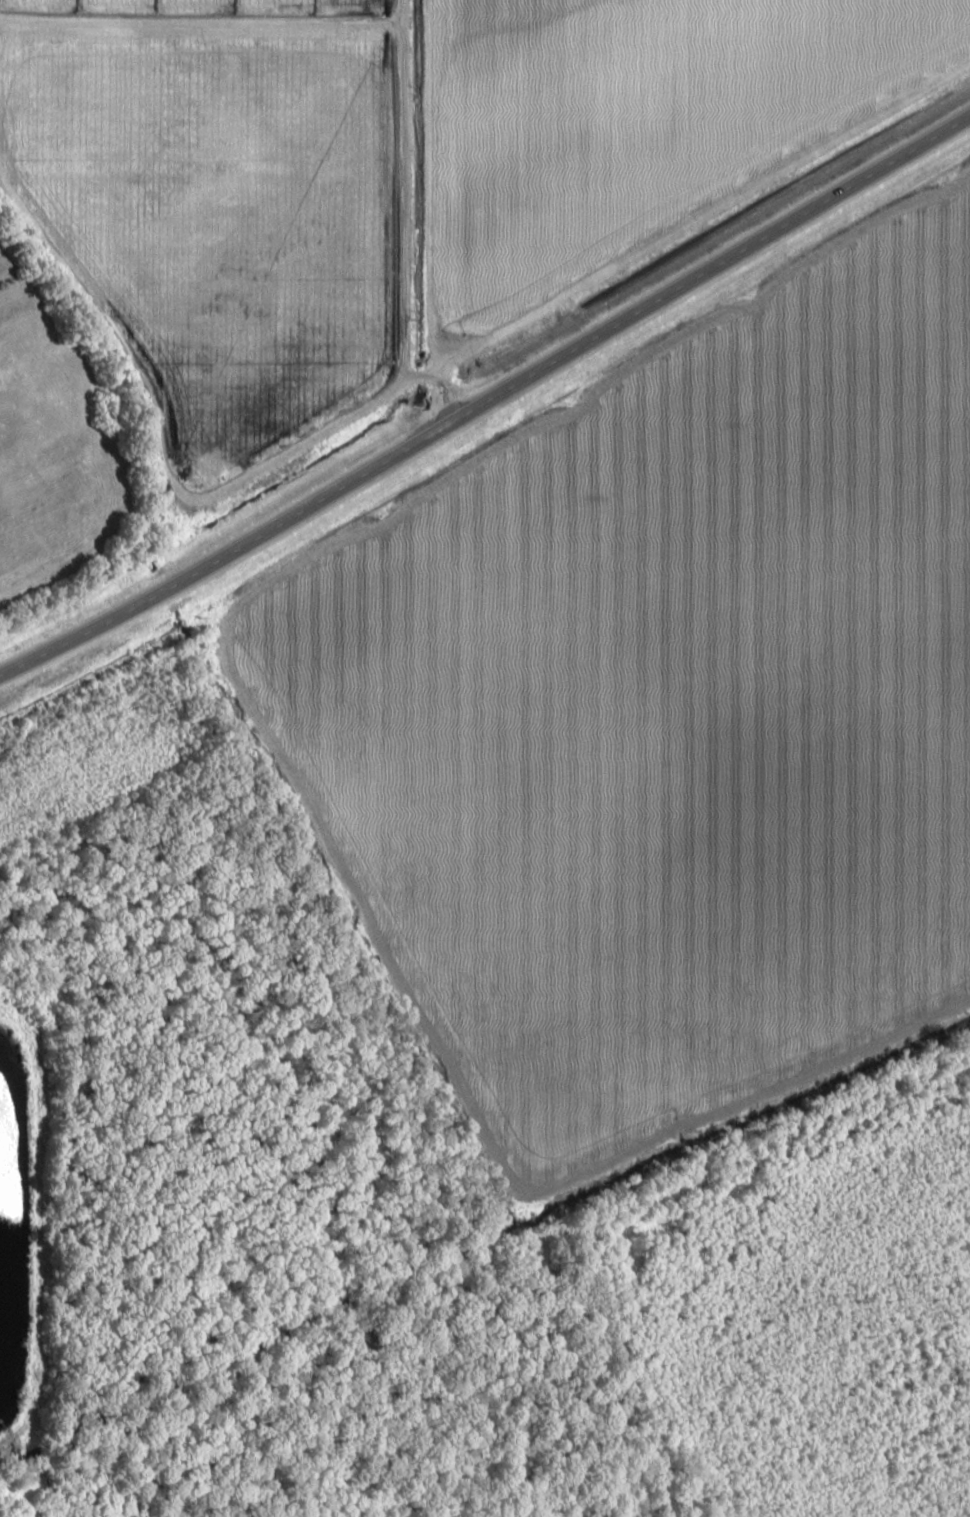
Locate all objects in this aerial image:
road: (487, 400)

